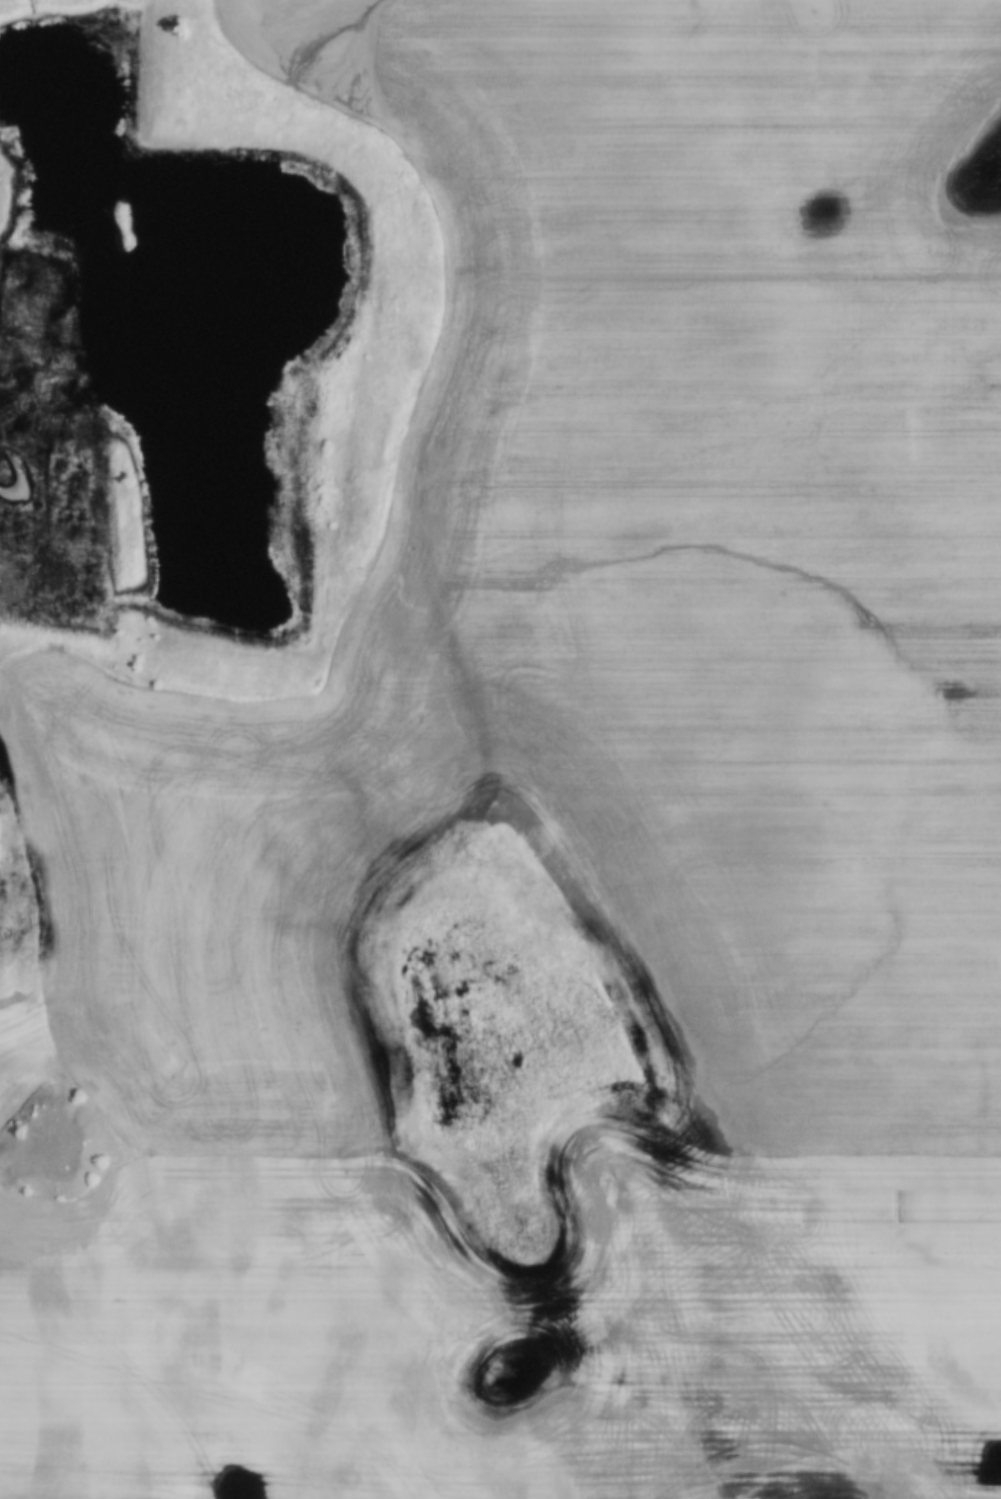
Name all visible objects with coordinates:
quarry: (2, 186)
road: (10, 1232)

